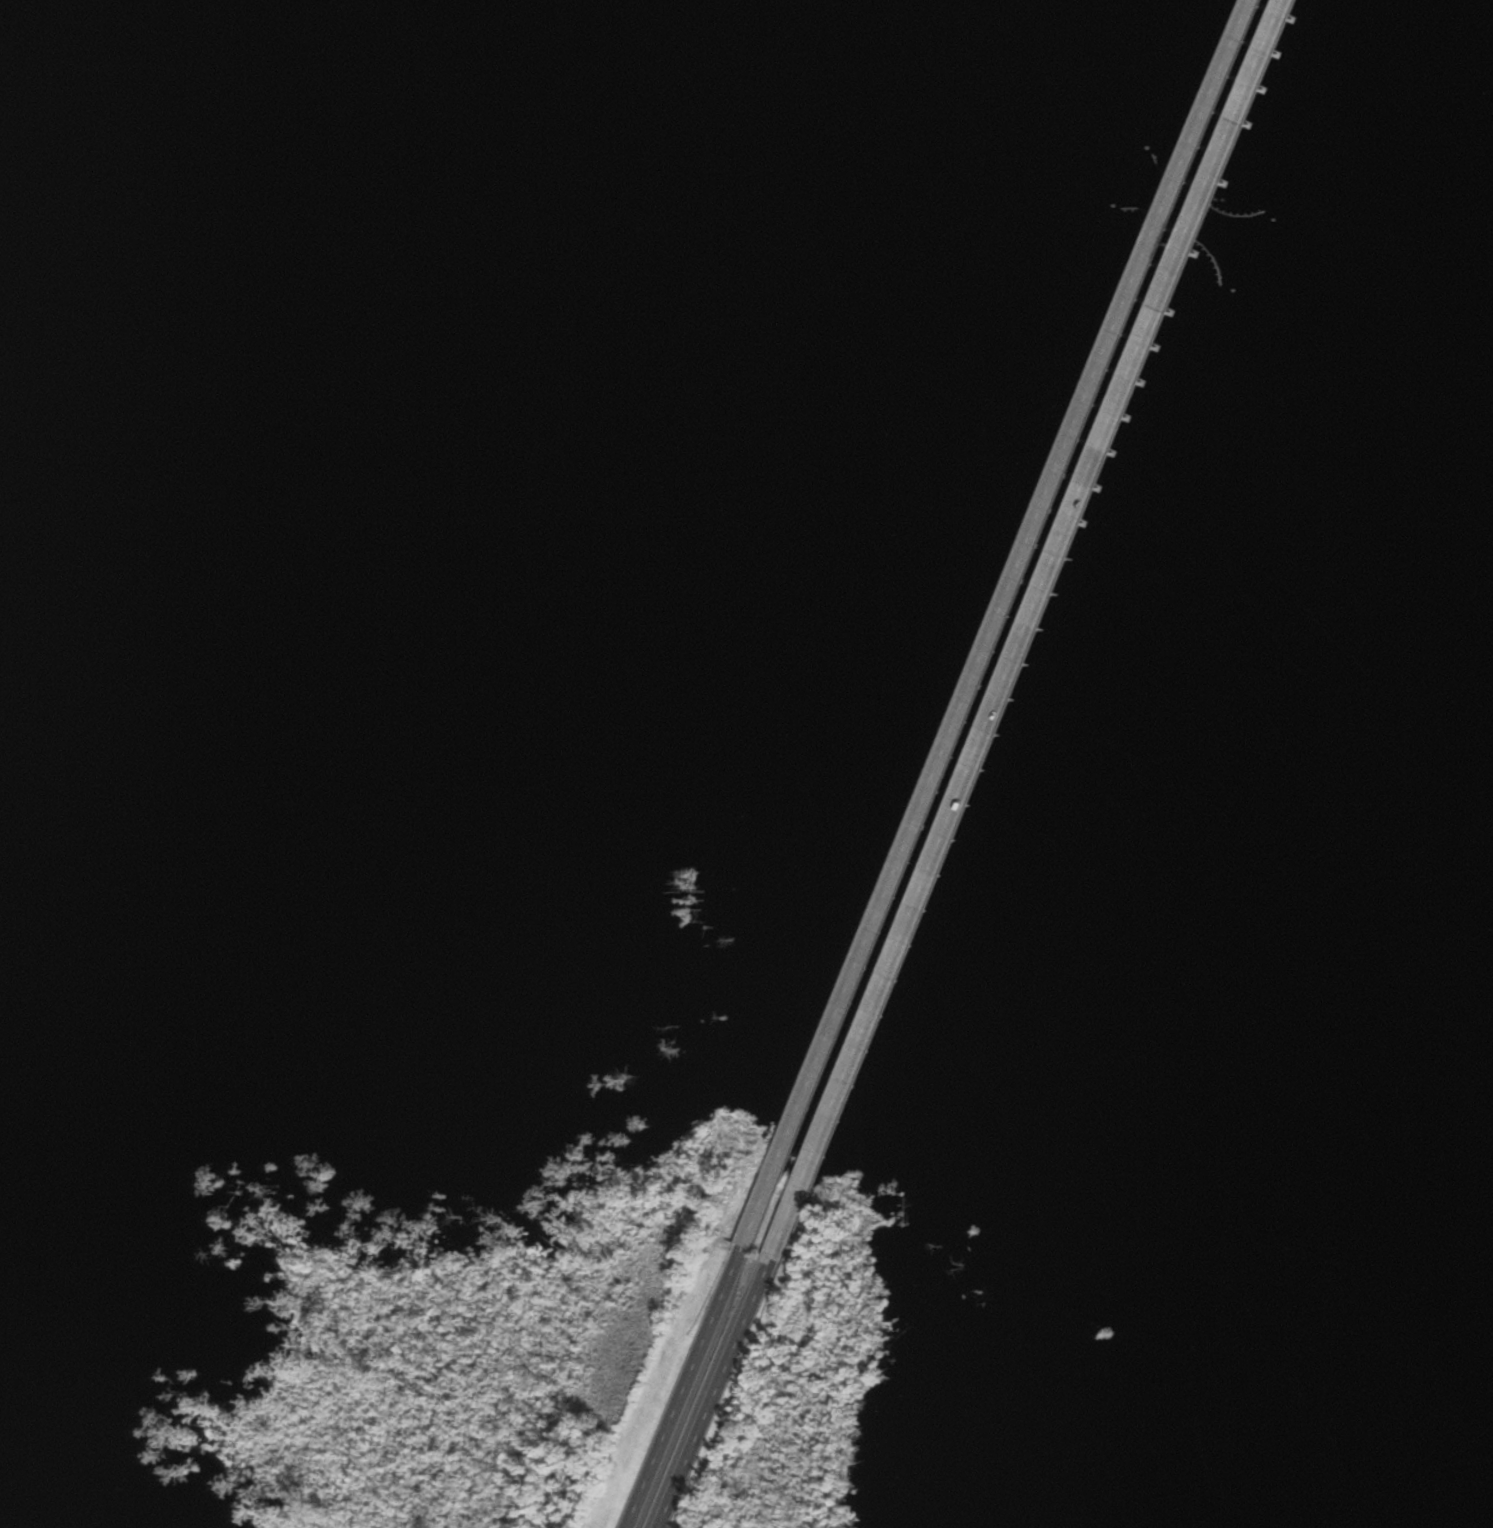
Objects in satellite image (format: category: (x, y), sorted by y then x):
road: (1218, 90)
river: (530, 97)
road: (1247, 100)
road: (1174, 199)
road: (1199, 217)
river: (1018, 339)
road: (954, 738)
road: (978, 754)
road: (685, 1392)
road: (711, 1401)

